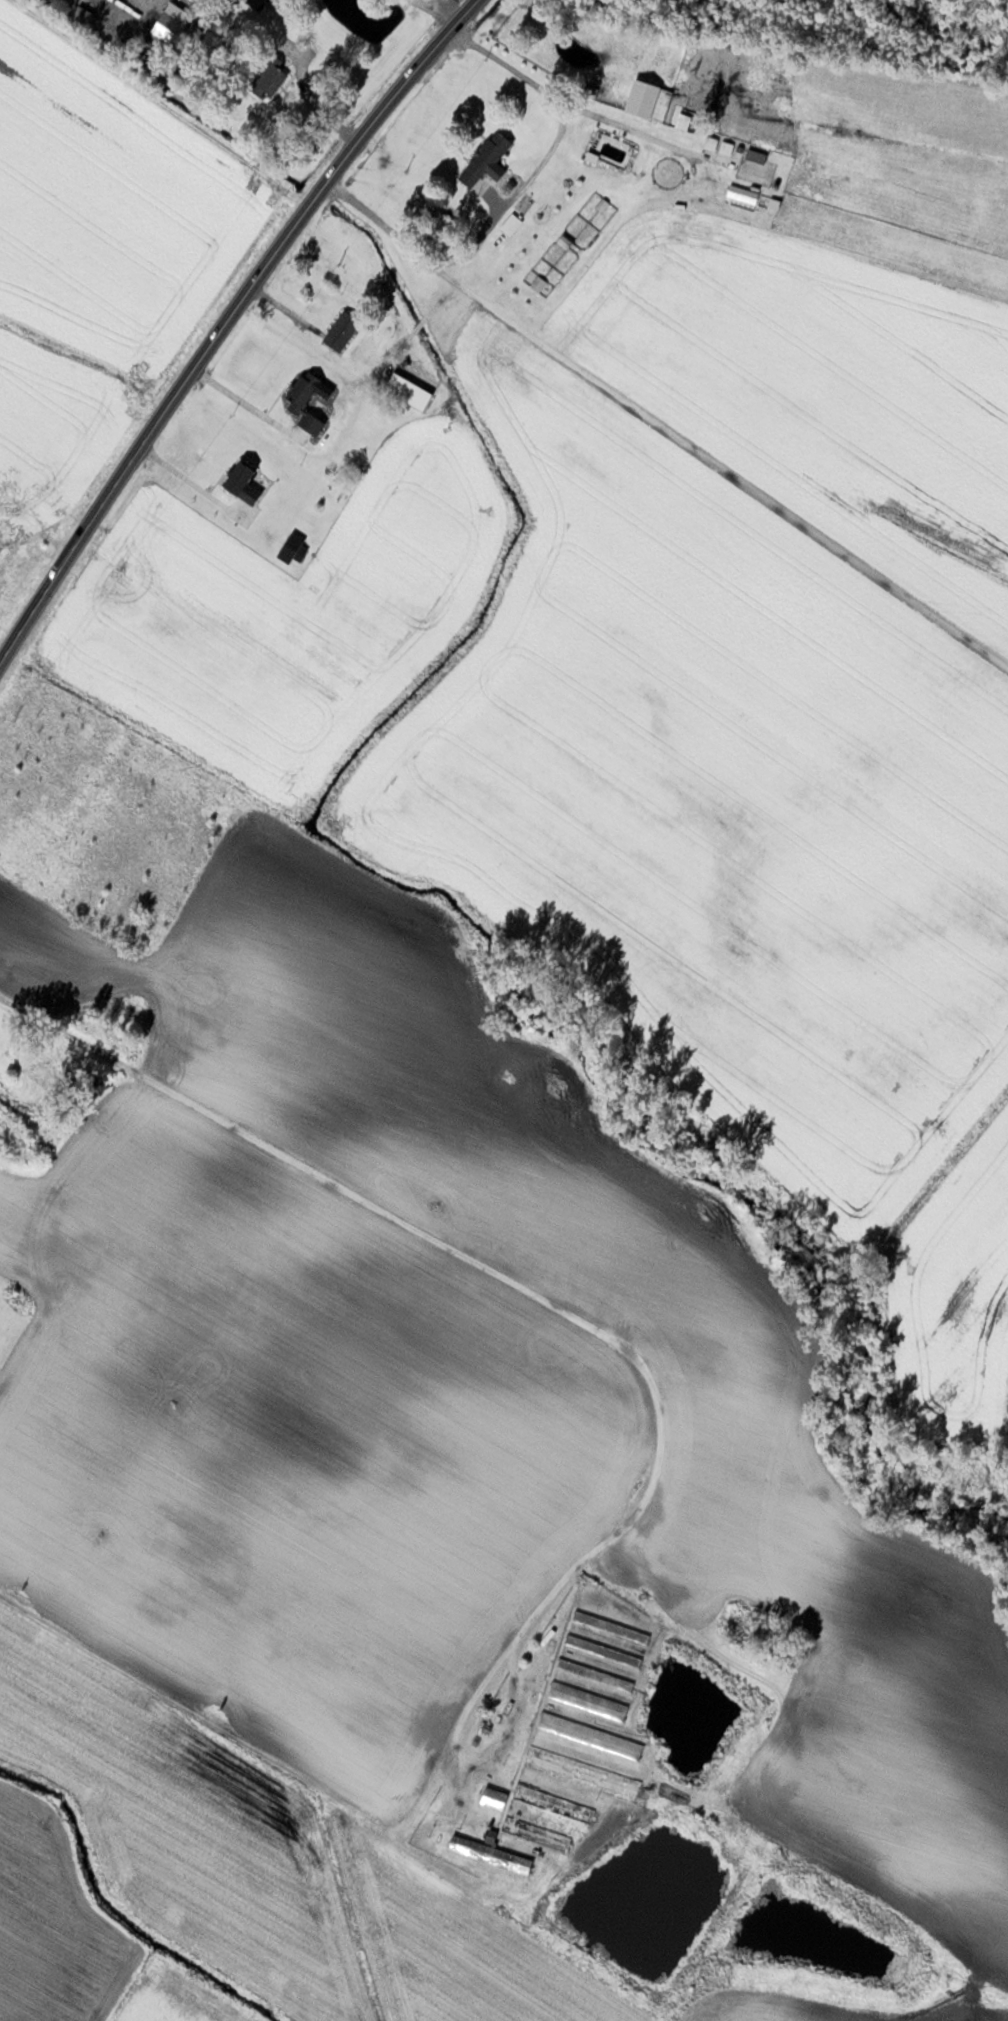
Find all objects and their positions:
building: (178, 24)
building: (269, 76)
building: (648, 99)
building: (679, 121)
building: (711, 142)
building: (726, 147)
building: (756, 155)
building: (486, 159)
building: (511, 224)
road: (223, 321)
building: (341, 330)
building: (408, 390)
building: (304, 401)
road: (669, 415)
building: (47, 512)
road: (440, 1239)
building: (610, 1625)
building: (602, 1649)
building: (588, 1708)
building: (581, 1772)
building: (494, 1797)
building: (556, 1799)
building: (535, 1832)
building: (488, 1851)

